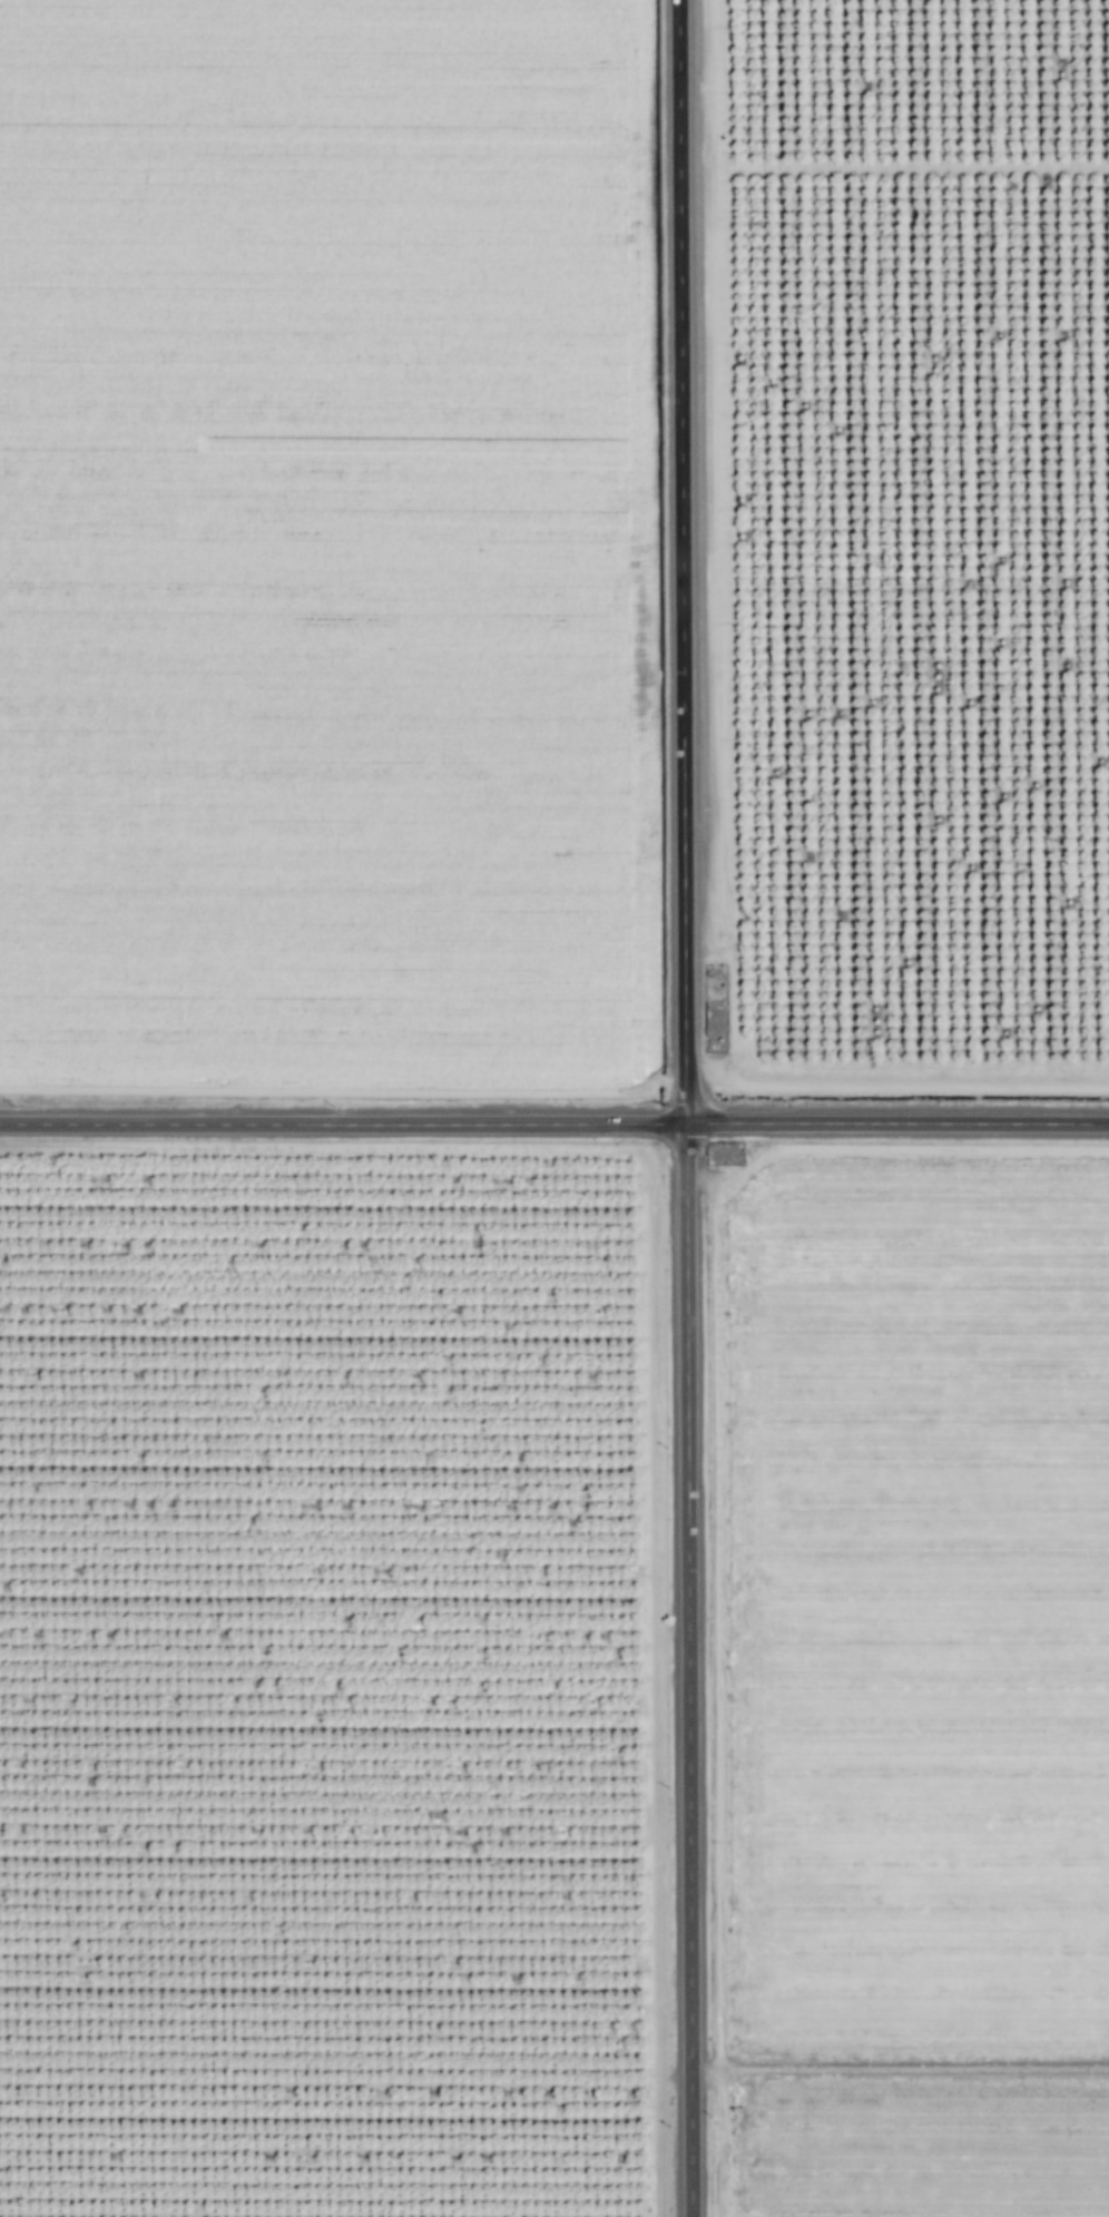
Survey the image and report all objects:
road: (694, 1108)
road: (554, 1125)

